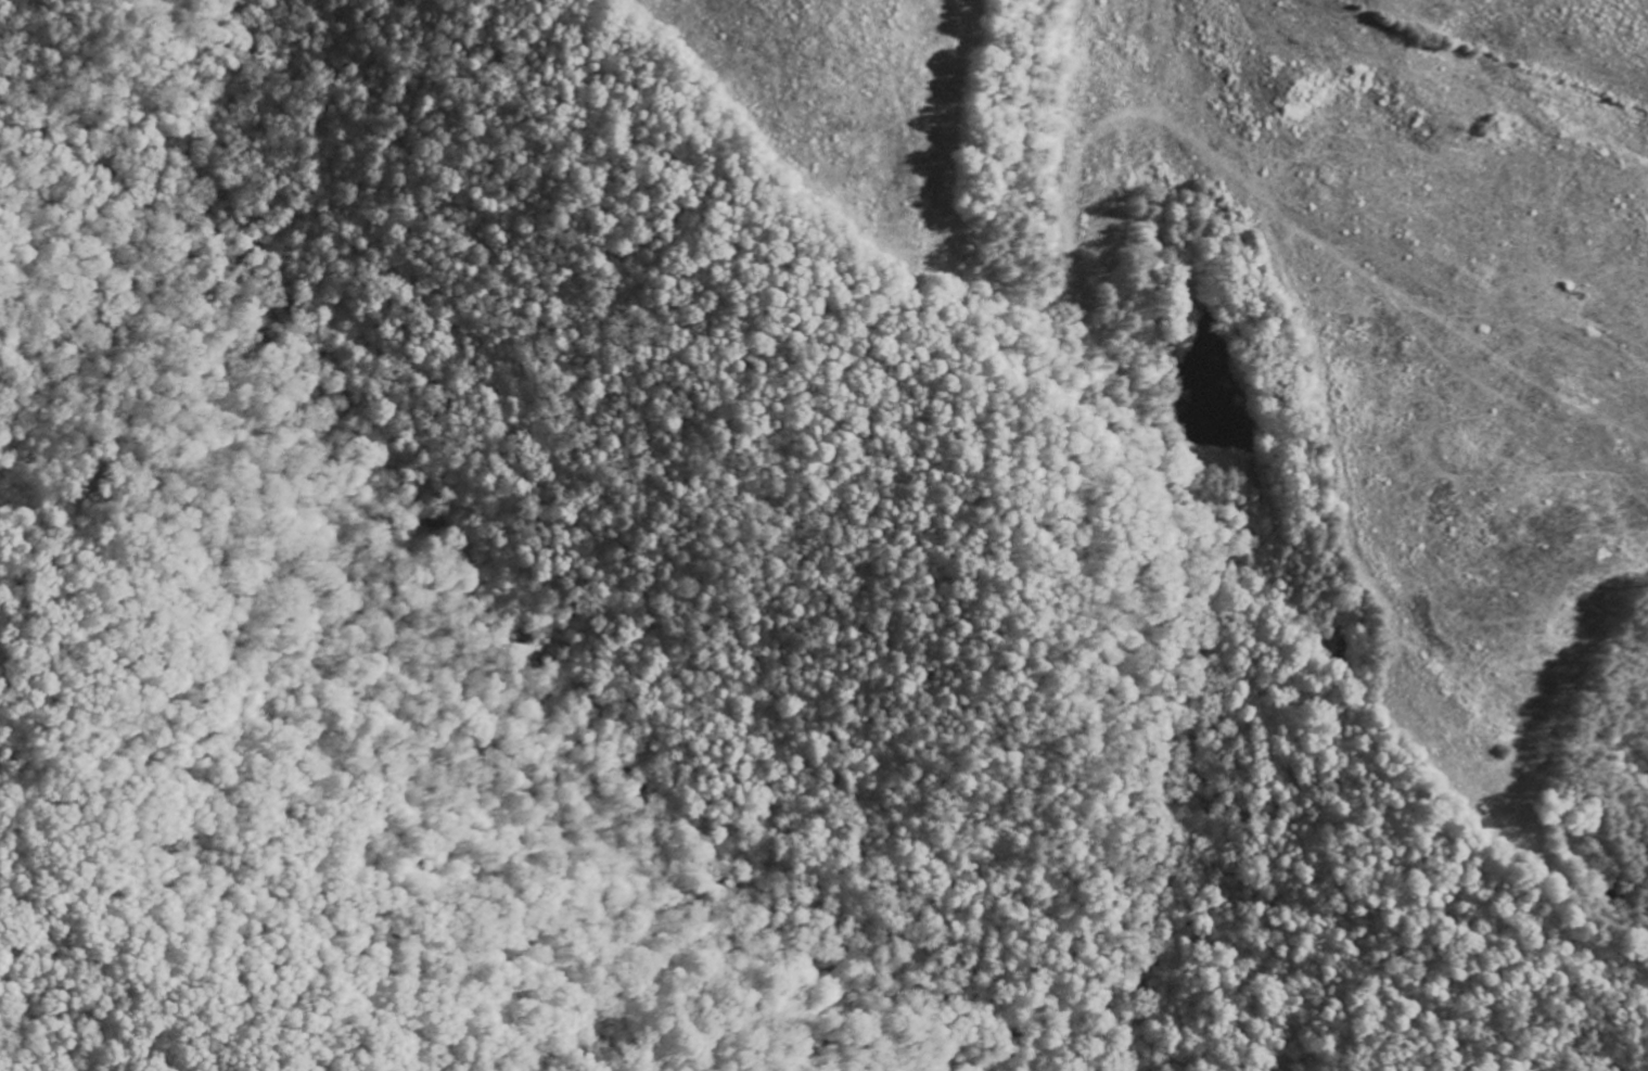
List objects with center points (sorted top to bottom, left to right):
road: (589, 916)
road: (77, 1040)

